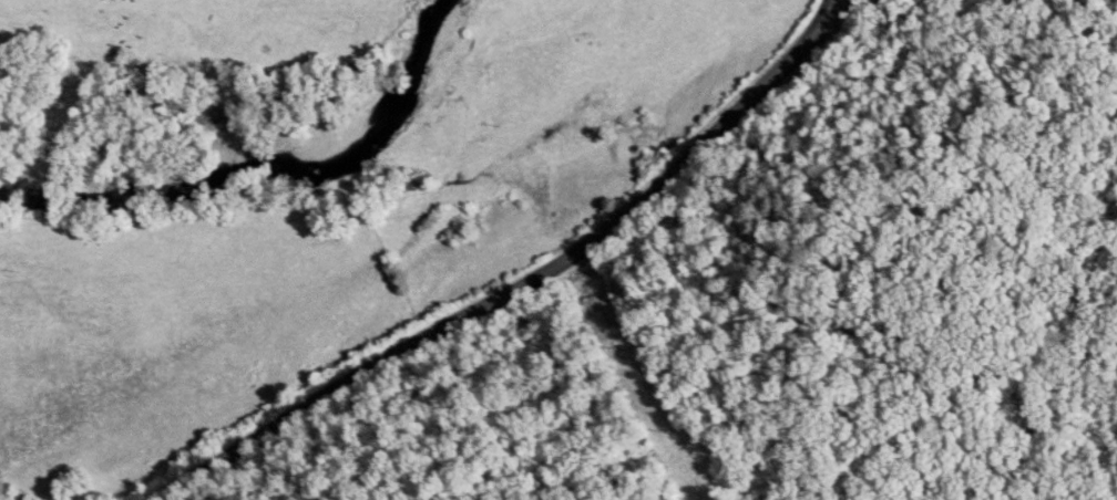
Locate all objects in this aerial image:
road: (524, 281)

